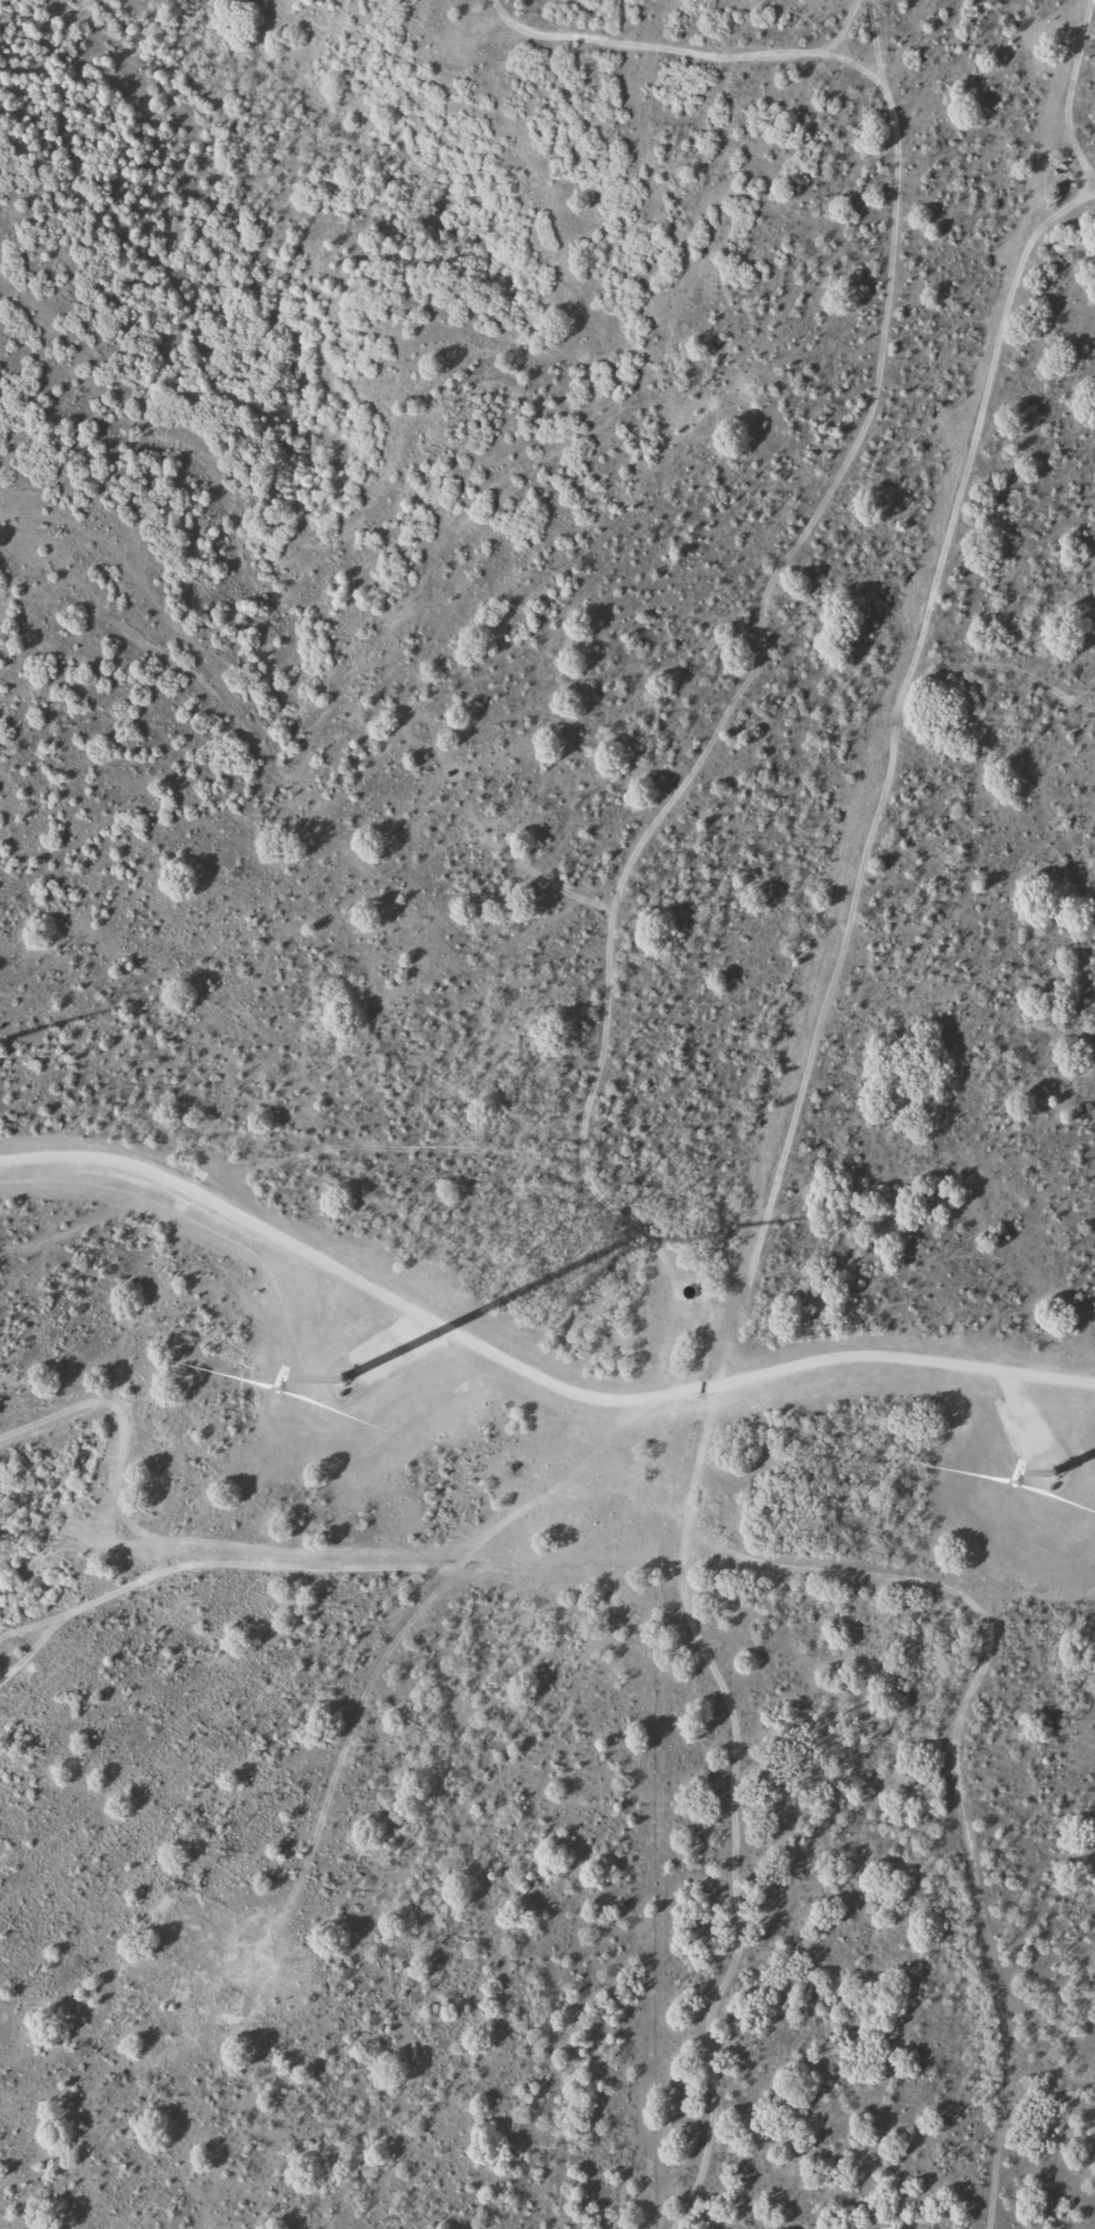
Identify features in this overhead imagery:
road: (1086, 46)
road: (1089, 172)
road: (977, 498)
road: (1003, 1320)
wind turbine: (341, 1381)
wind turbine: (1053, 1474)

